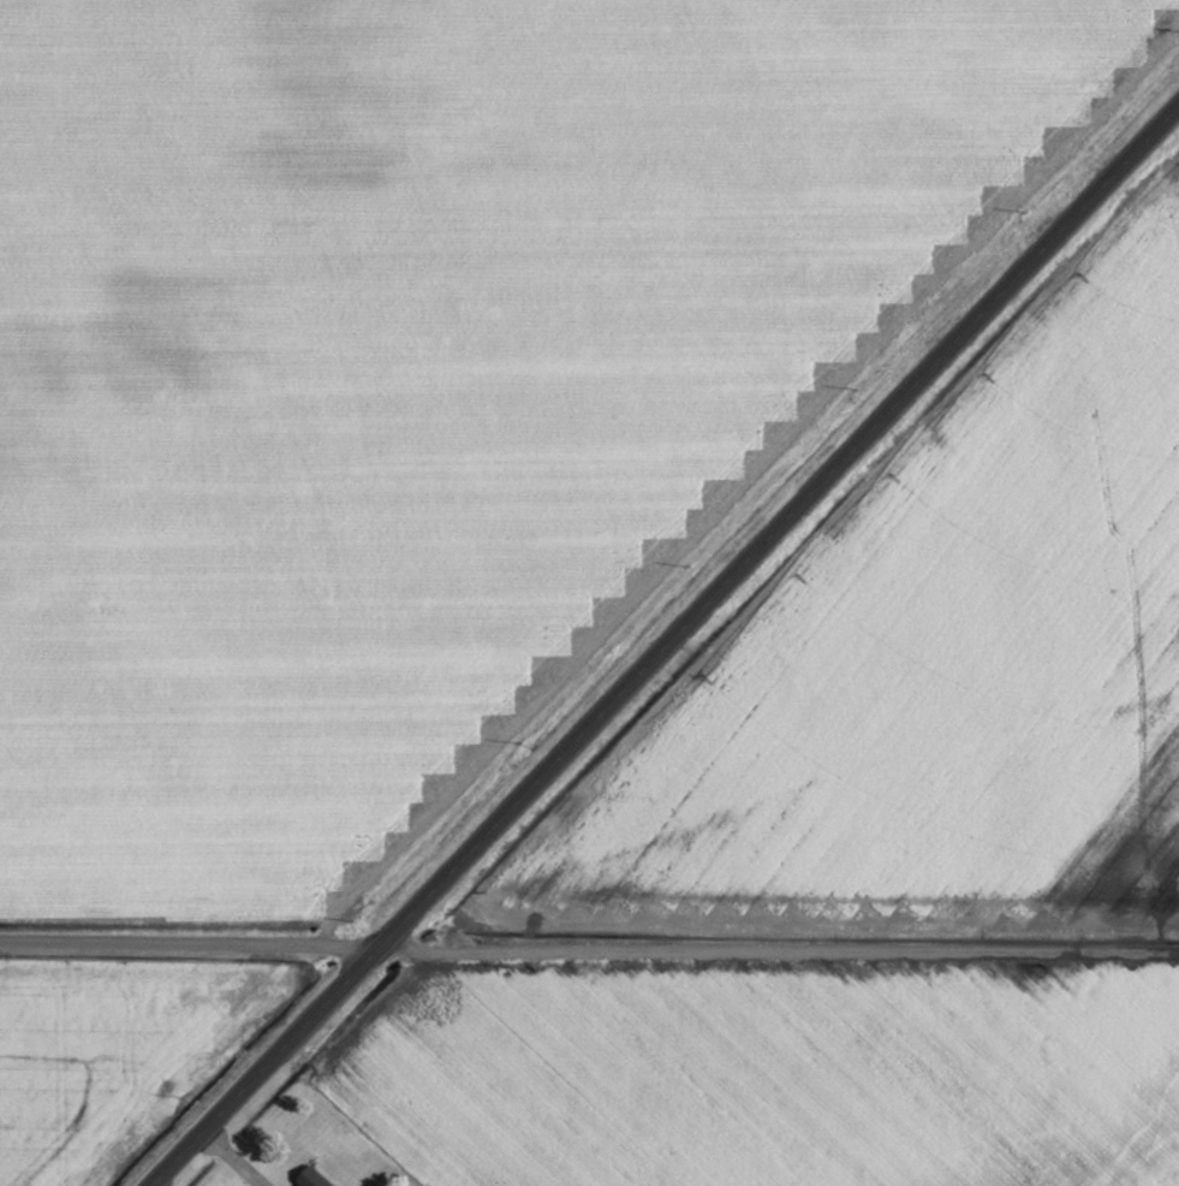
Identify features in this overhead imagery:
road: (666, 650)
road: (589, 951)
building: (309, 1179)

